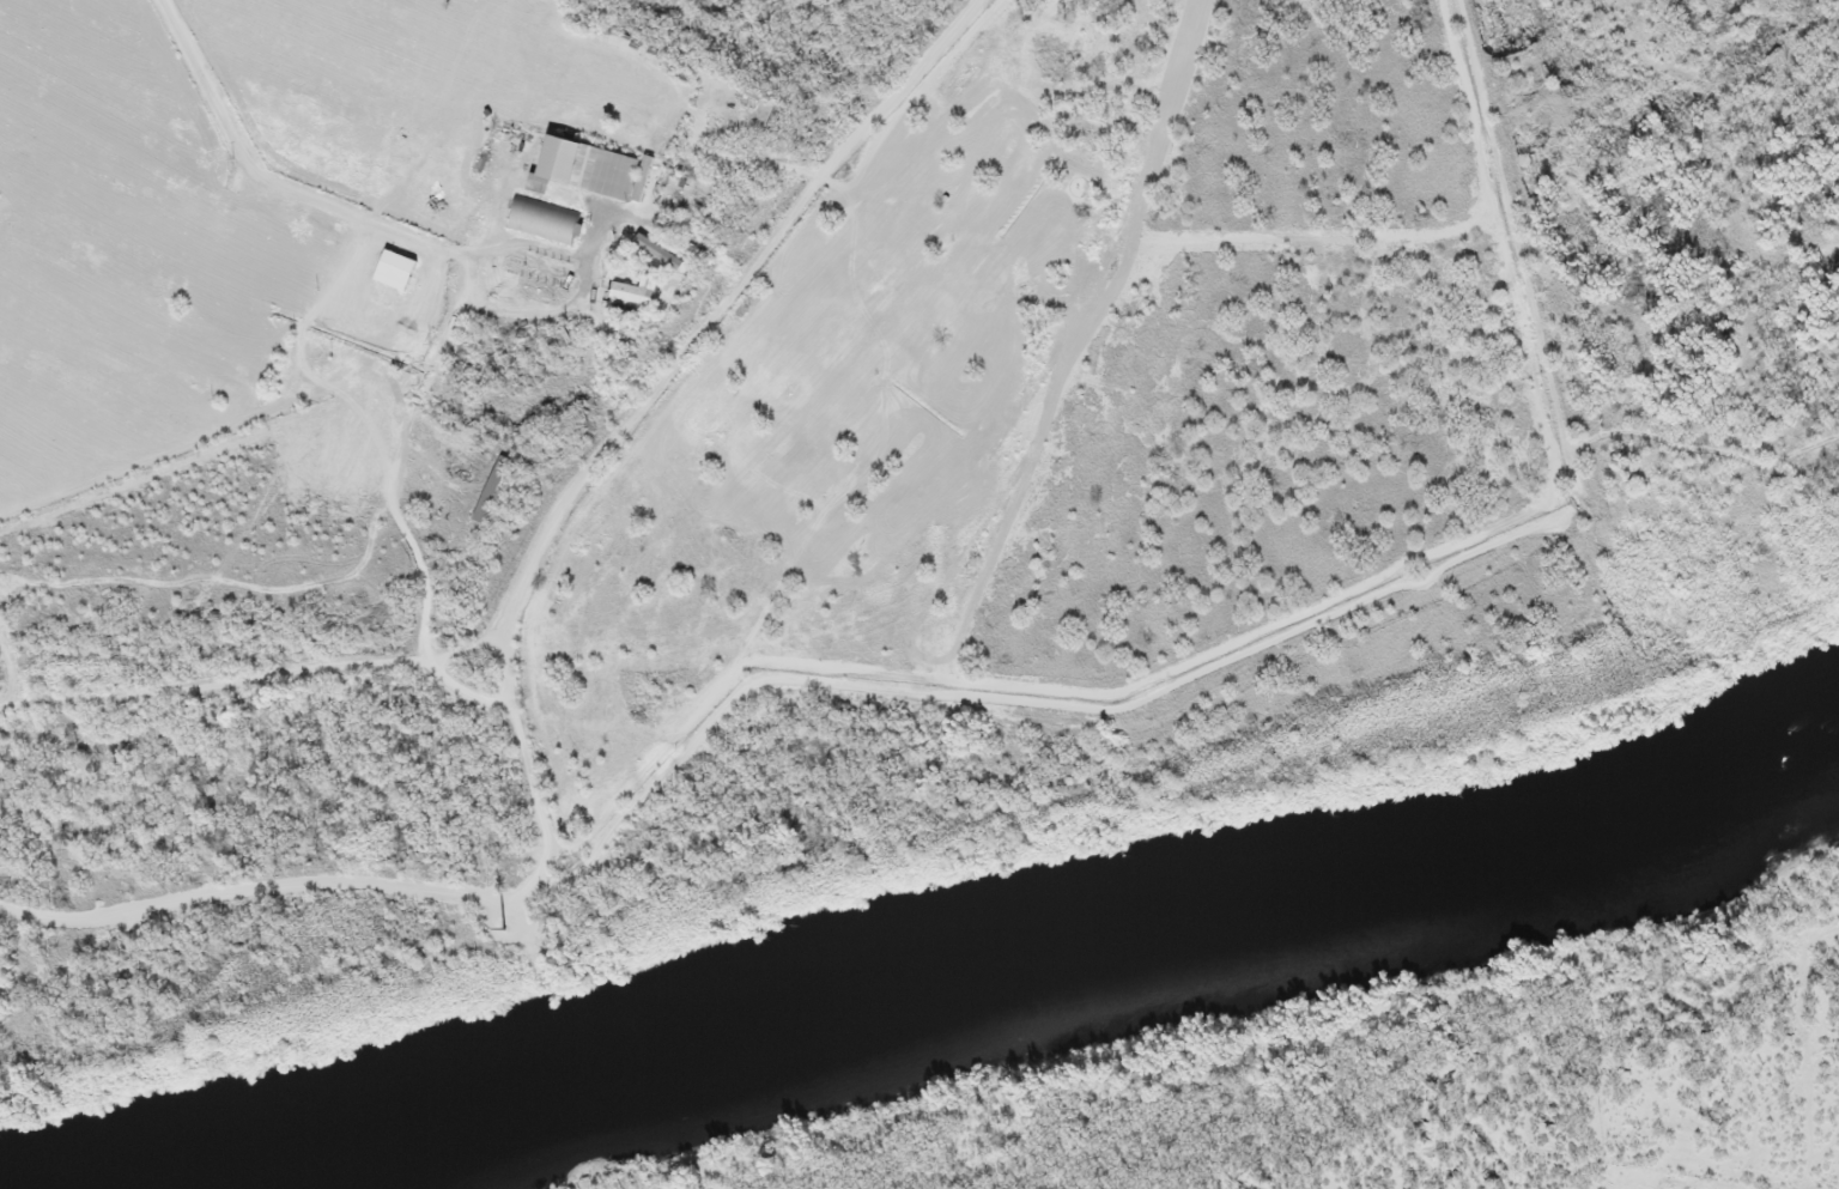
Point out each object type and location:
building: (553, 158)
building: (544, 220)
building: (658, 249)
building: (396, 266)
building: (627, 289)
river: (999, 984)

